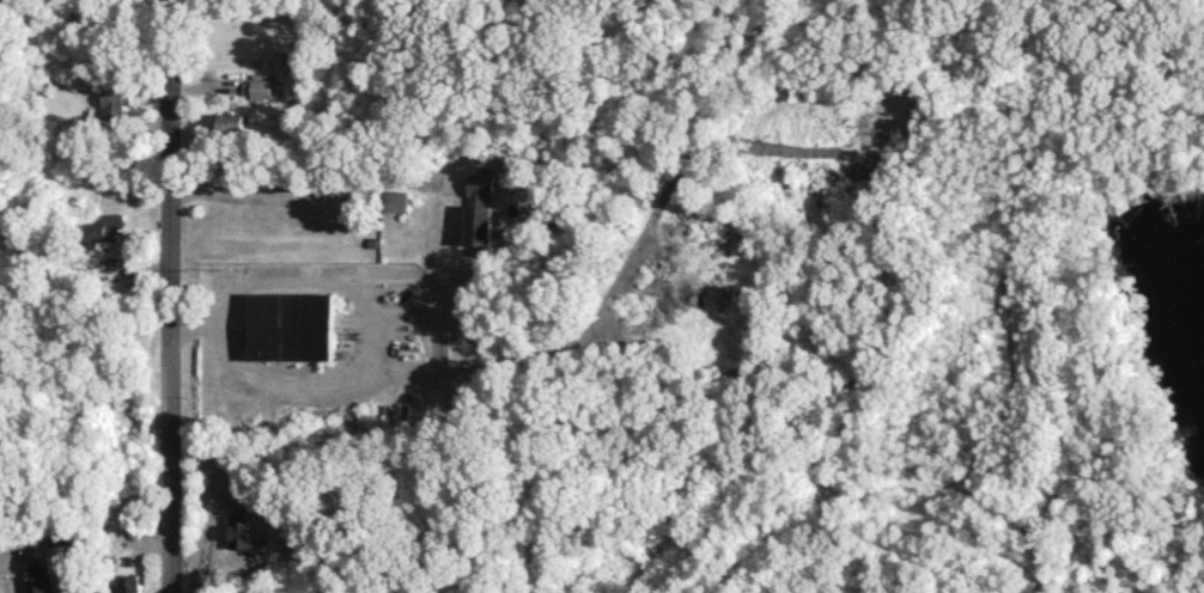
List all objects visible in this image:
building: (260, 87)
building: (114, 100)
building: (229, 121)
road: (299, 196)
building: (391, 200)
building: (479, 208)
building: (105, 227)
road: (170, 296)
building: (290, 325)
building: (286, 422)
building: (241, 531)
building: (60, 536)
road: (197, 546)
building: (38, 577)
building: (129, 583)

